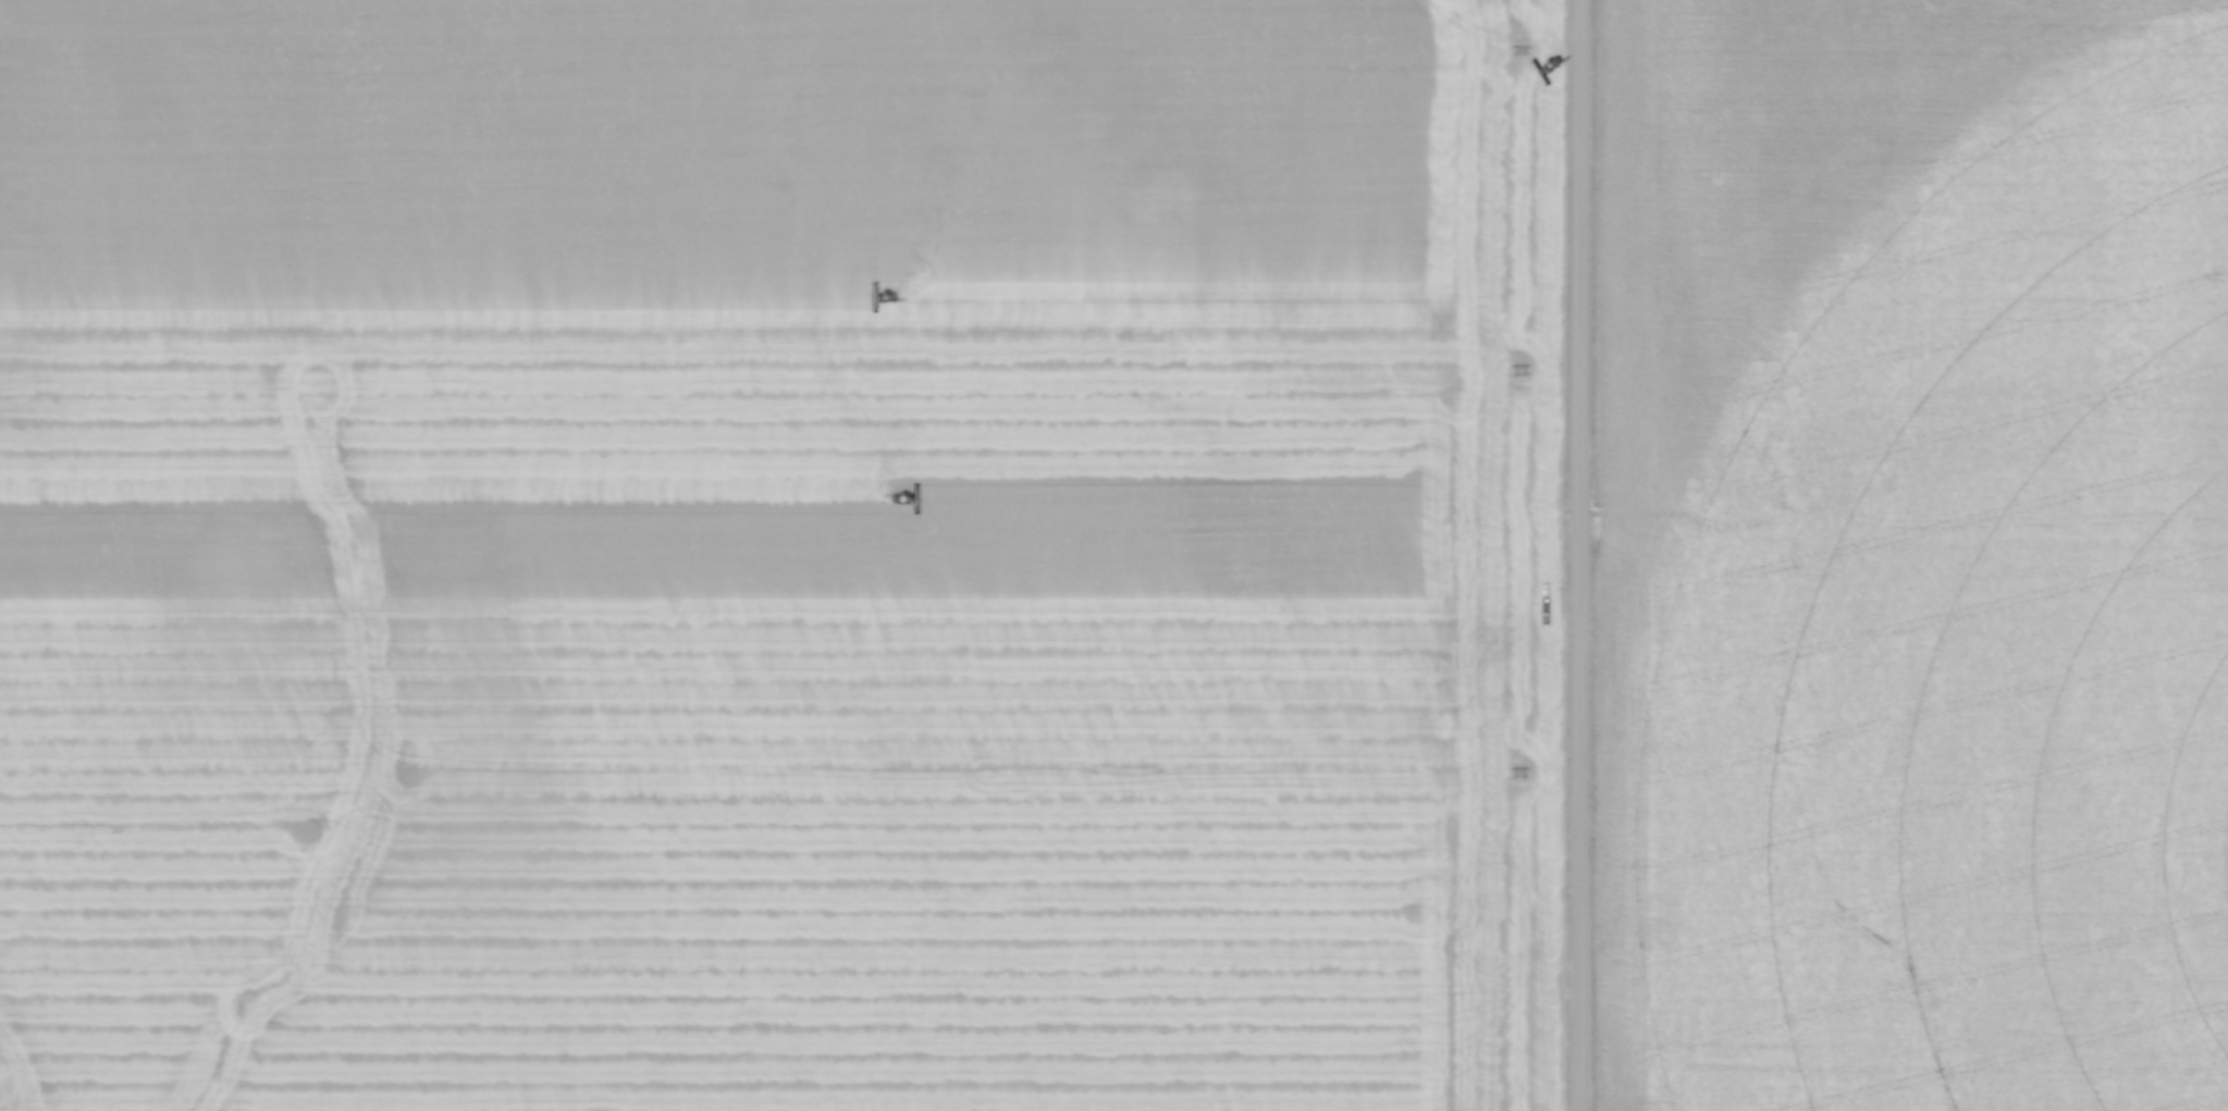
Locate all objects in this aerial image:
power tower: (1521, 55)
power tower: (1518, 376)
crop: (779, 555)
road: (1580, 555)
crop: (1918, 556)
power tower: (1515, 777)

